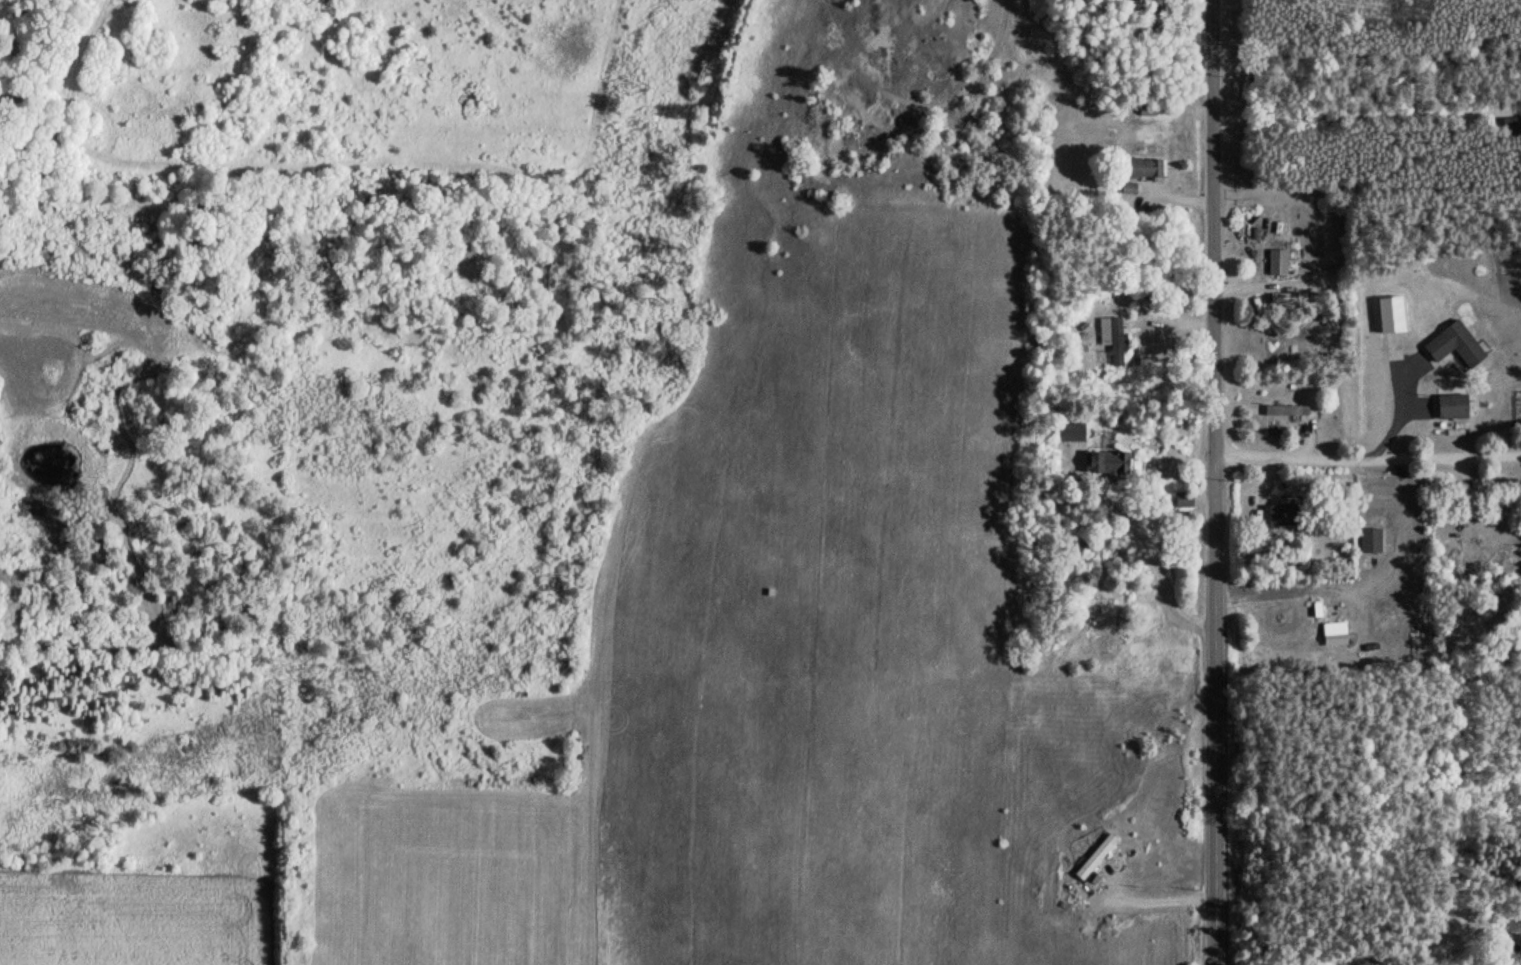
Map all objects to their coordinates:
building: (1140, 167)
building: (1275, 262)
building: (1451, 345)
road: (1104, 384)
building: (1448, 406)
building: (1285, 409)
road: (1363, 427)
road: (1132, 446)
building: (1103, 460)
road: (1206, 482)
building: (1279, 516)
building: (1367, 539)
building: (1333, 632)
building: (1092, 856)
road: (1315, 878)

